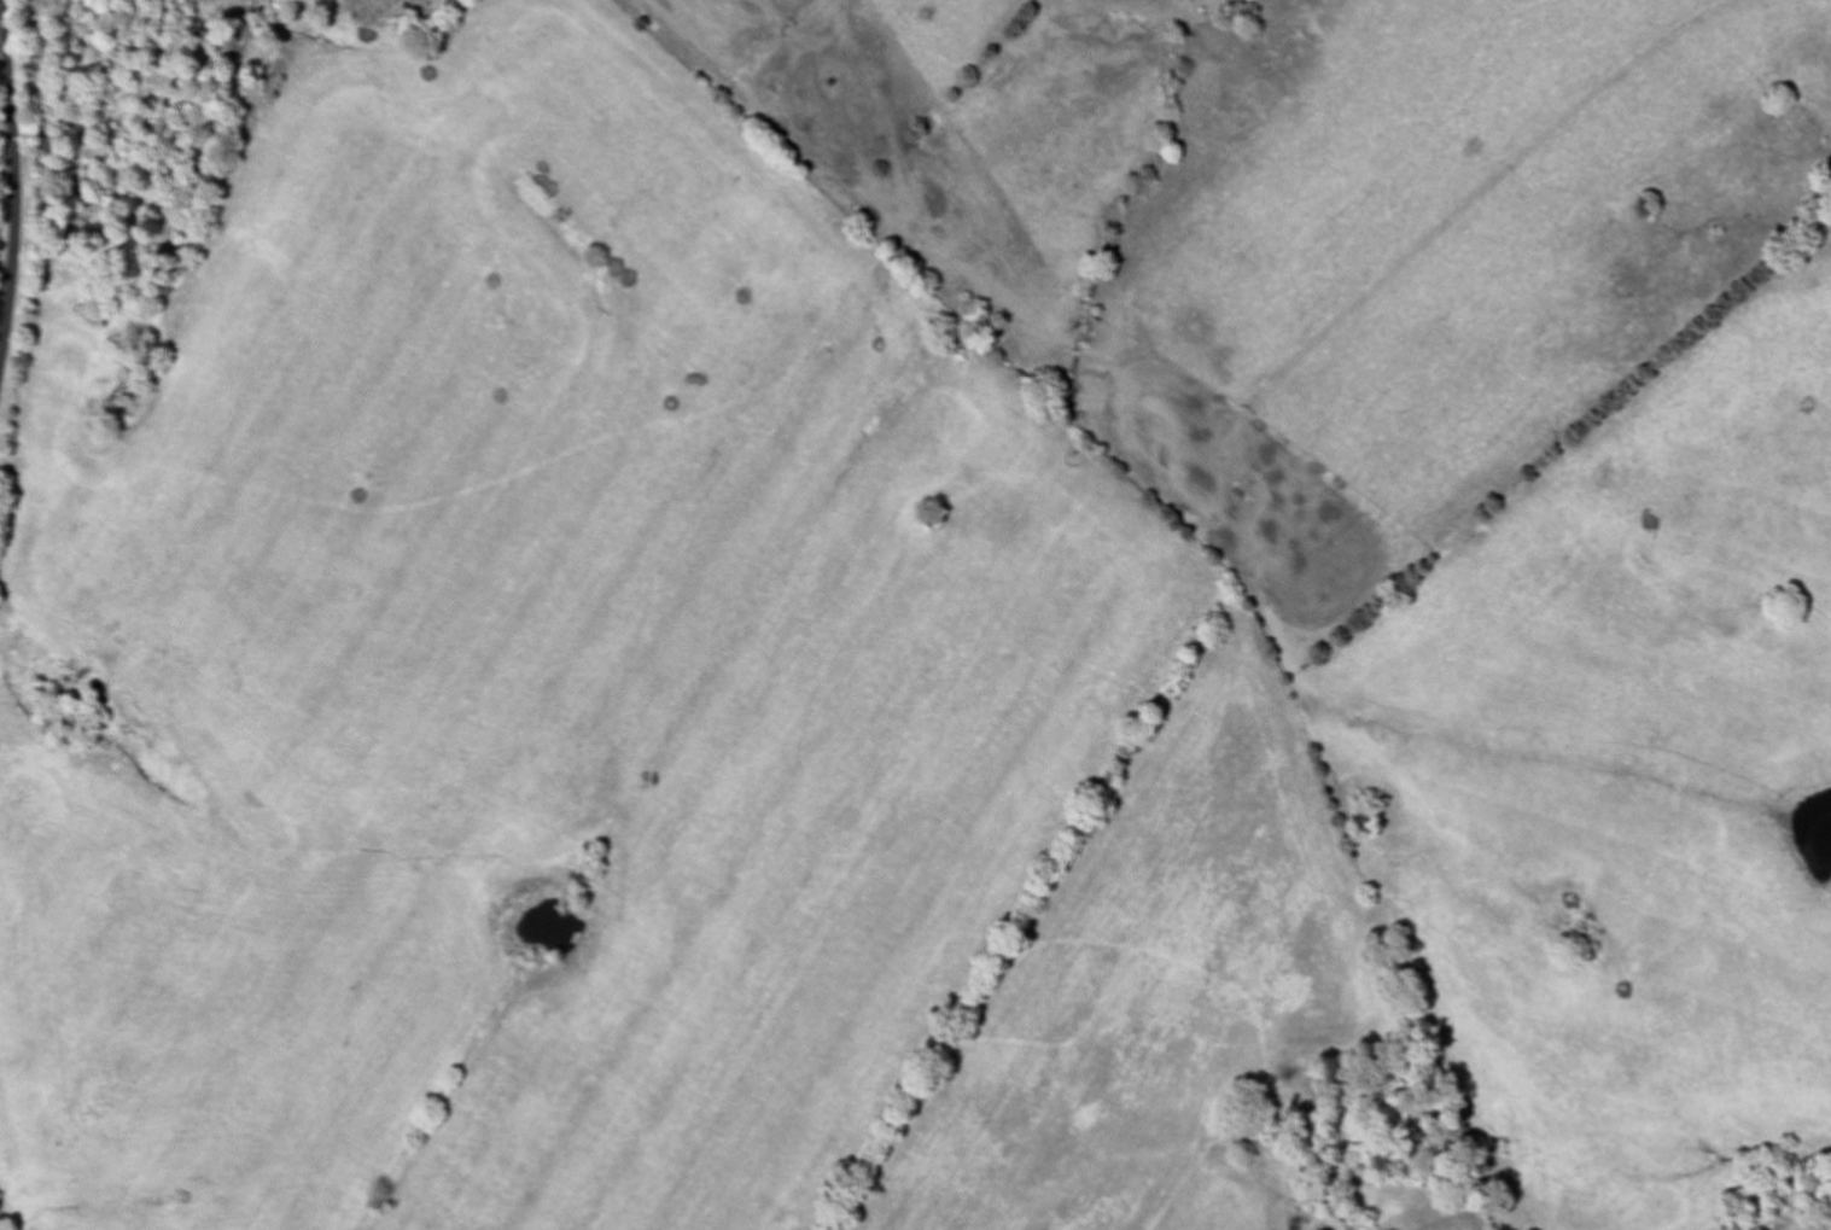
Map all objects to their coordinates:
road: (12, 170)

